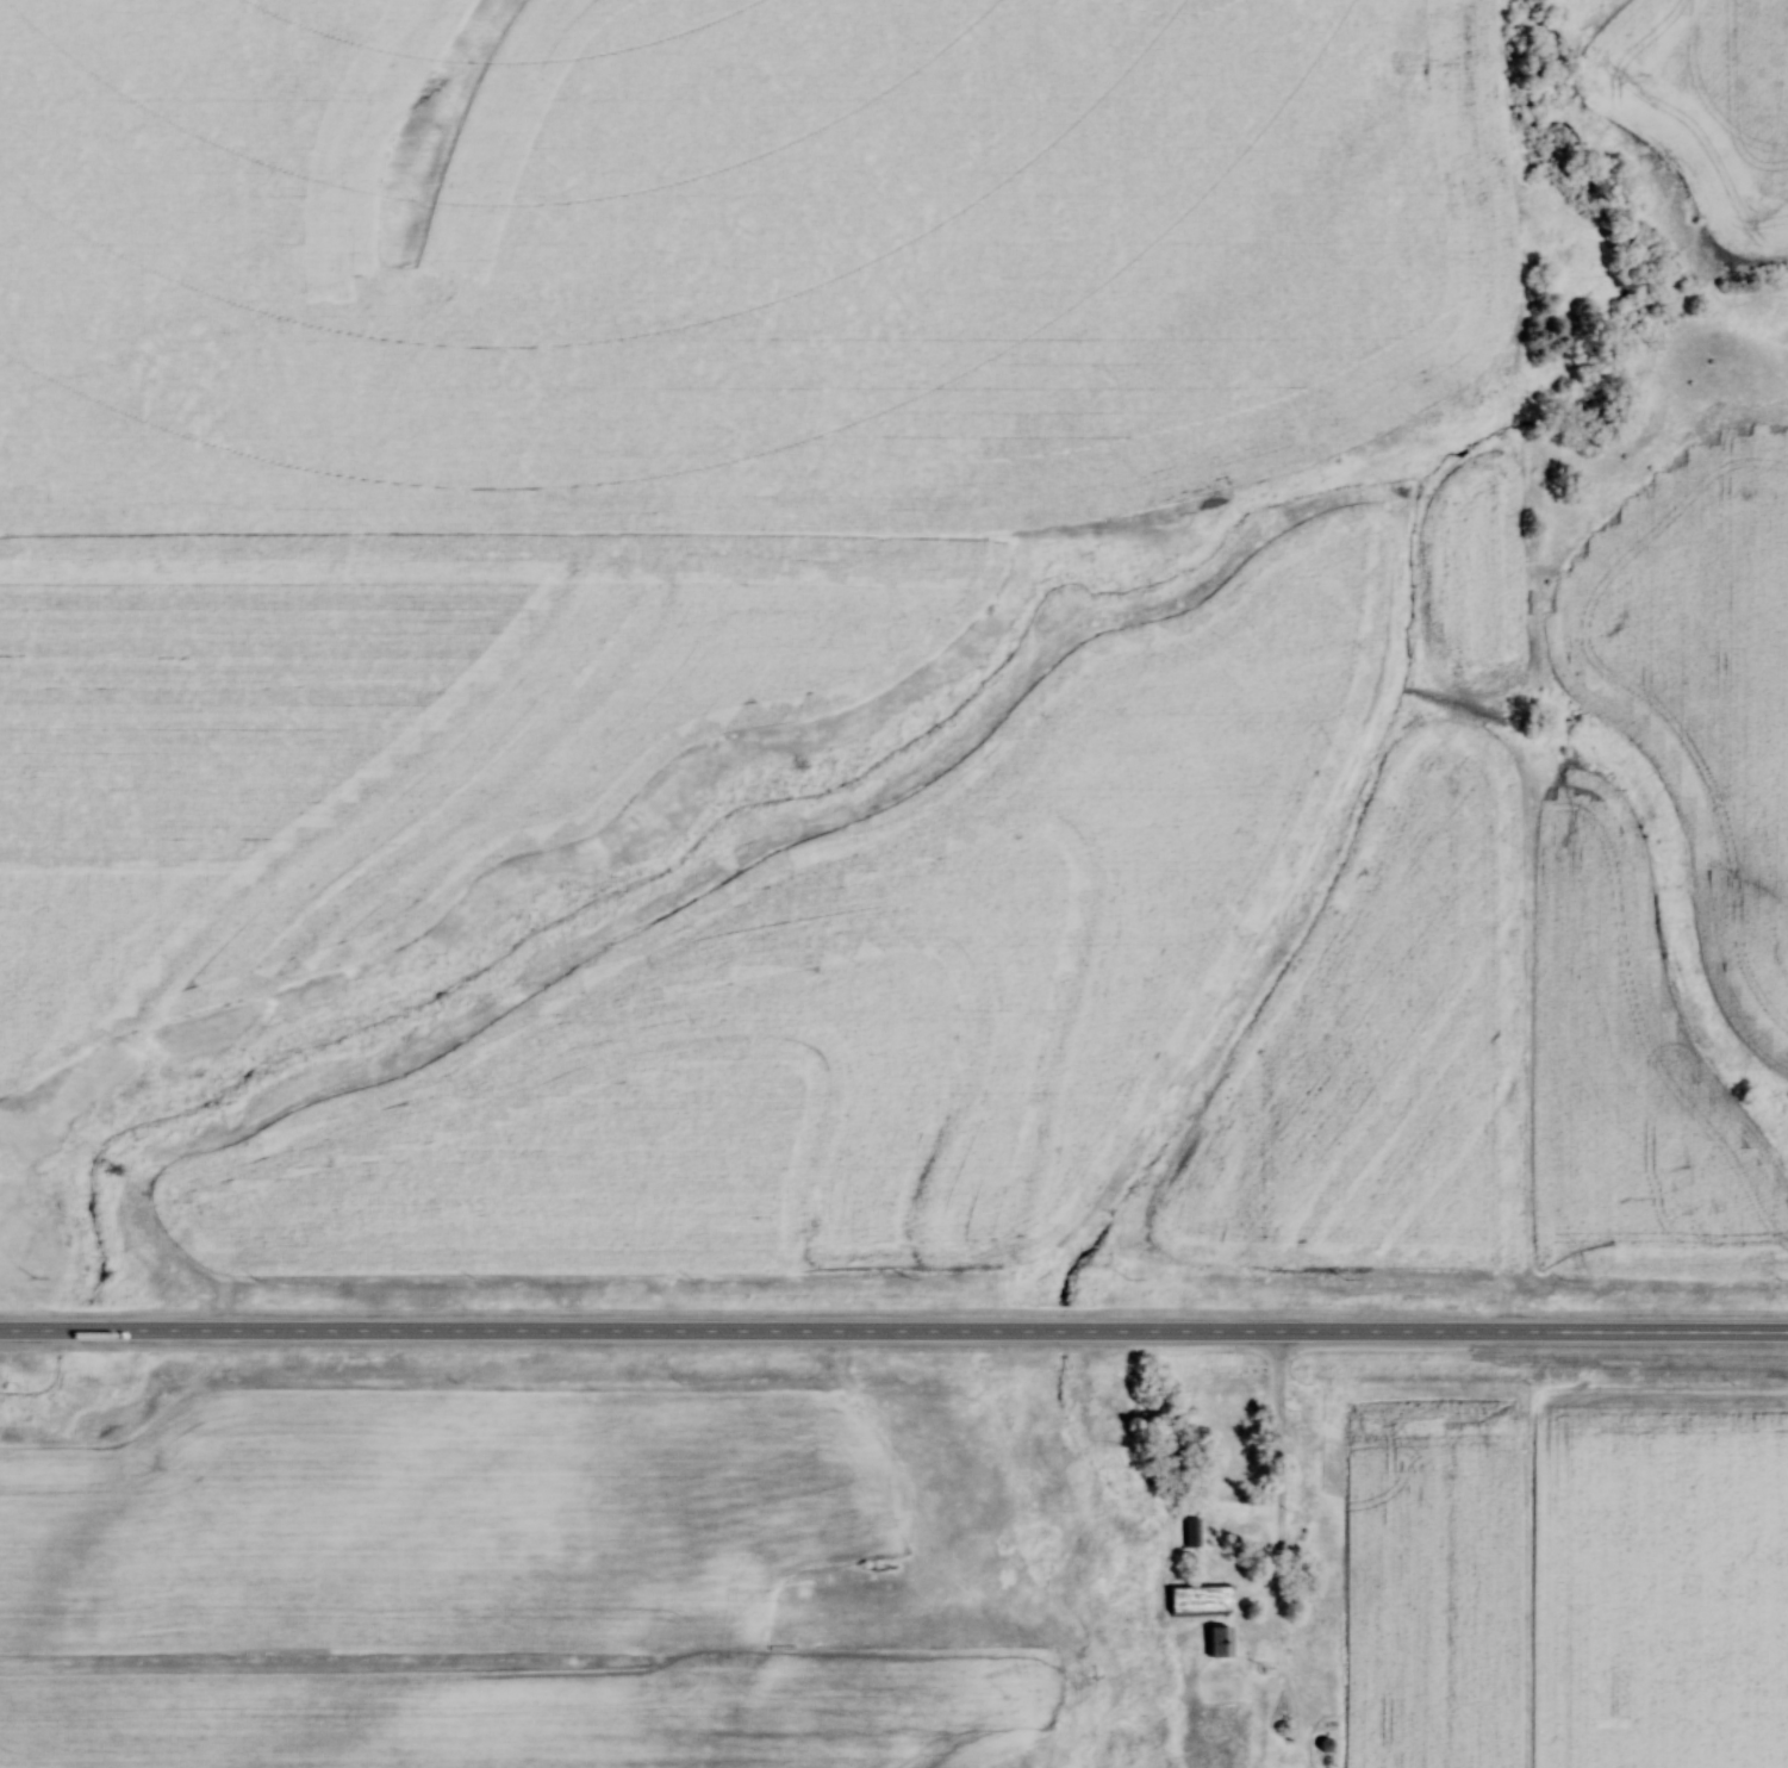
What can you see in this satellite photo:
road: (893, 1333)
road: (1283, 1476)
building: (1191, 1532)
building: (1195, 1599)
building: (1216, 1642)

